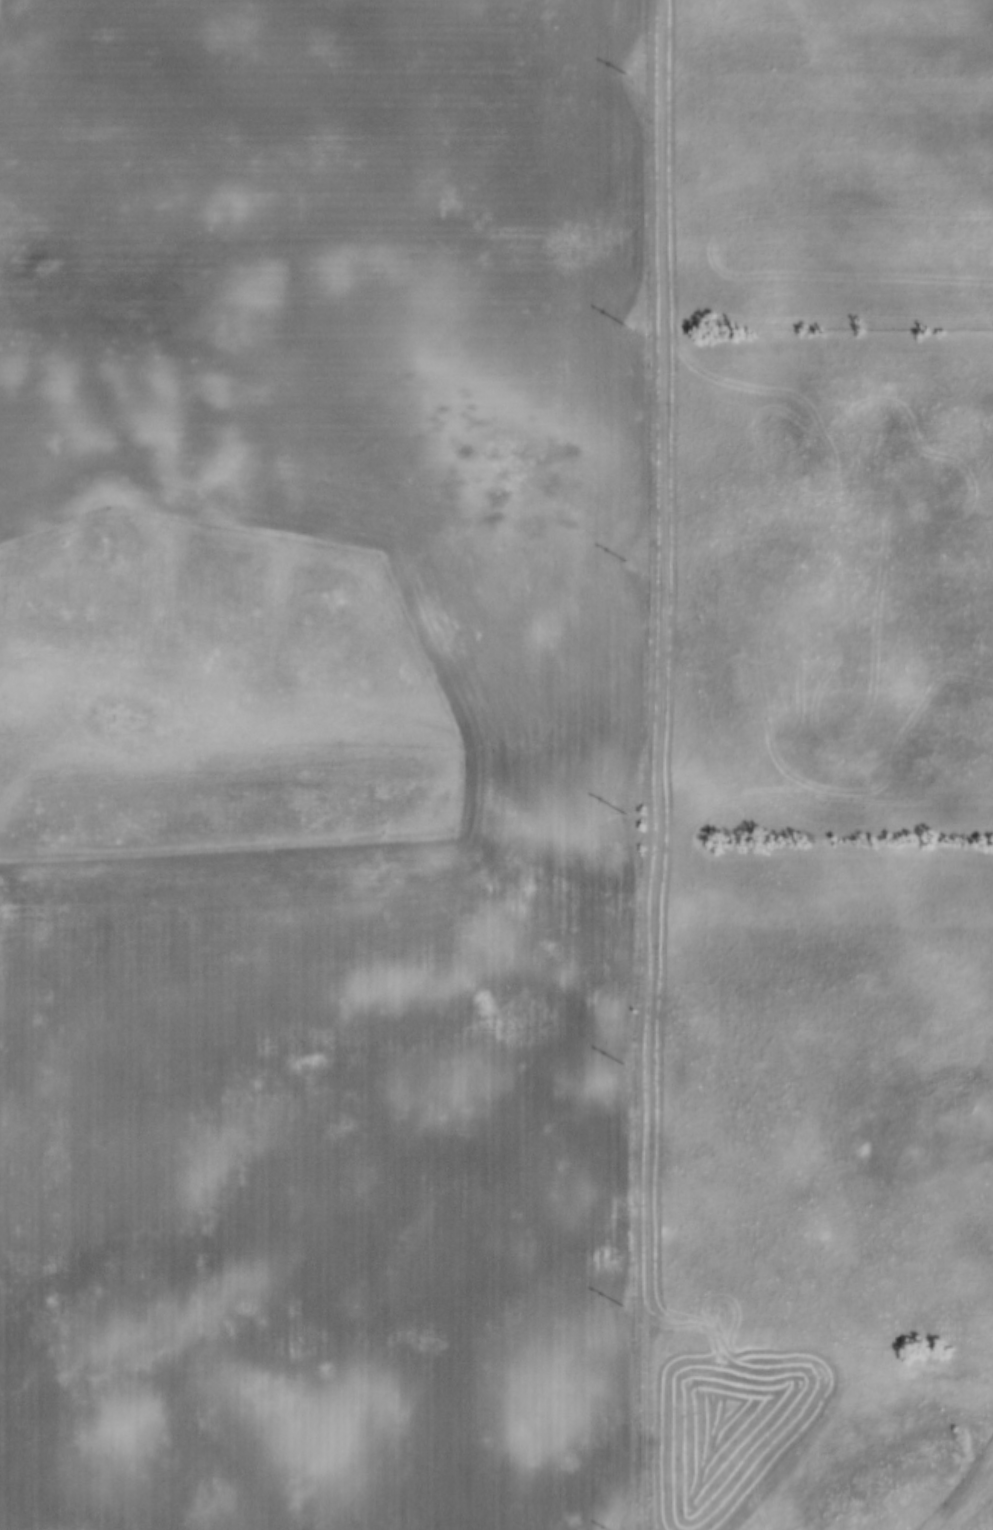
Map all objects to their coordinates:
road: (655, 764)

